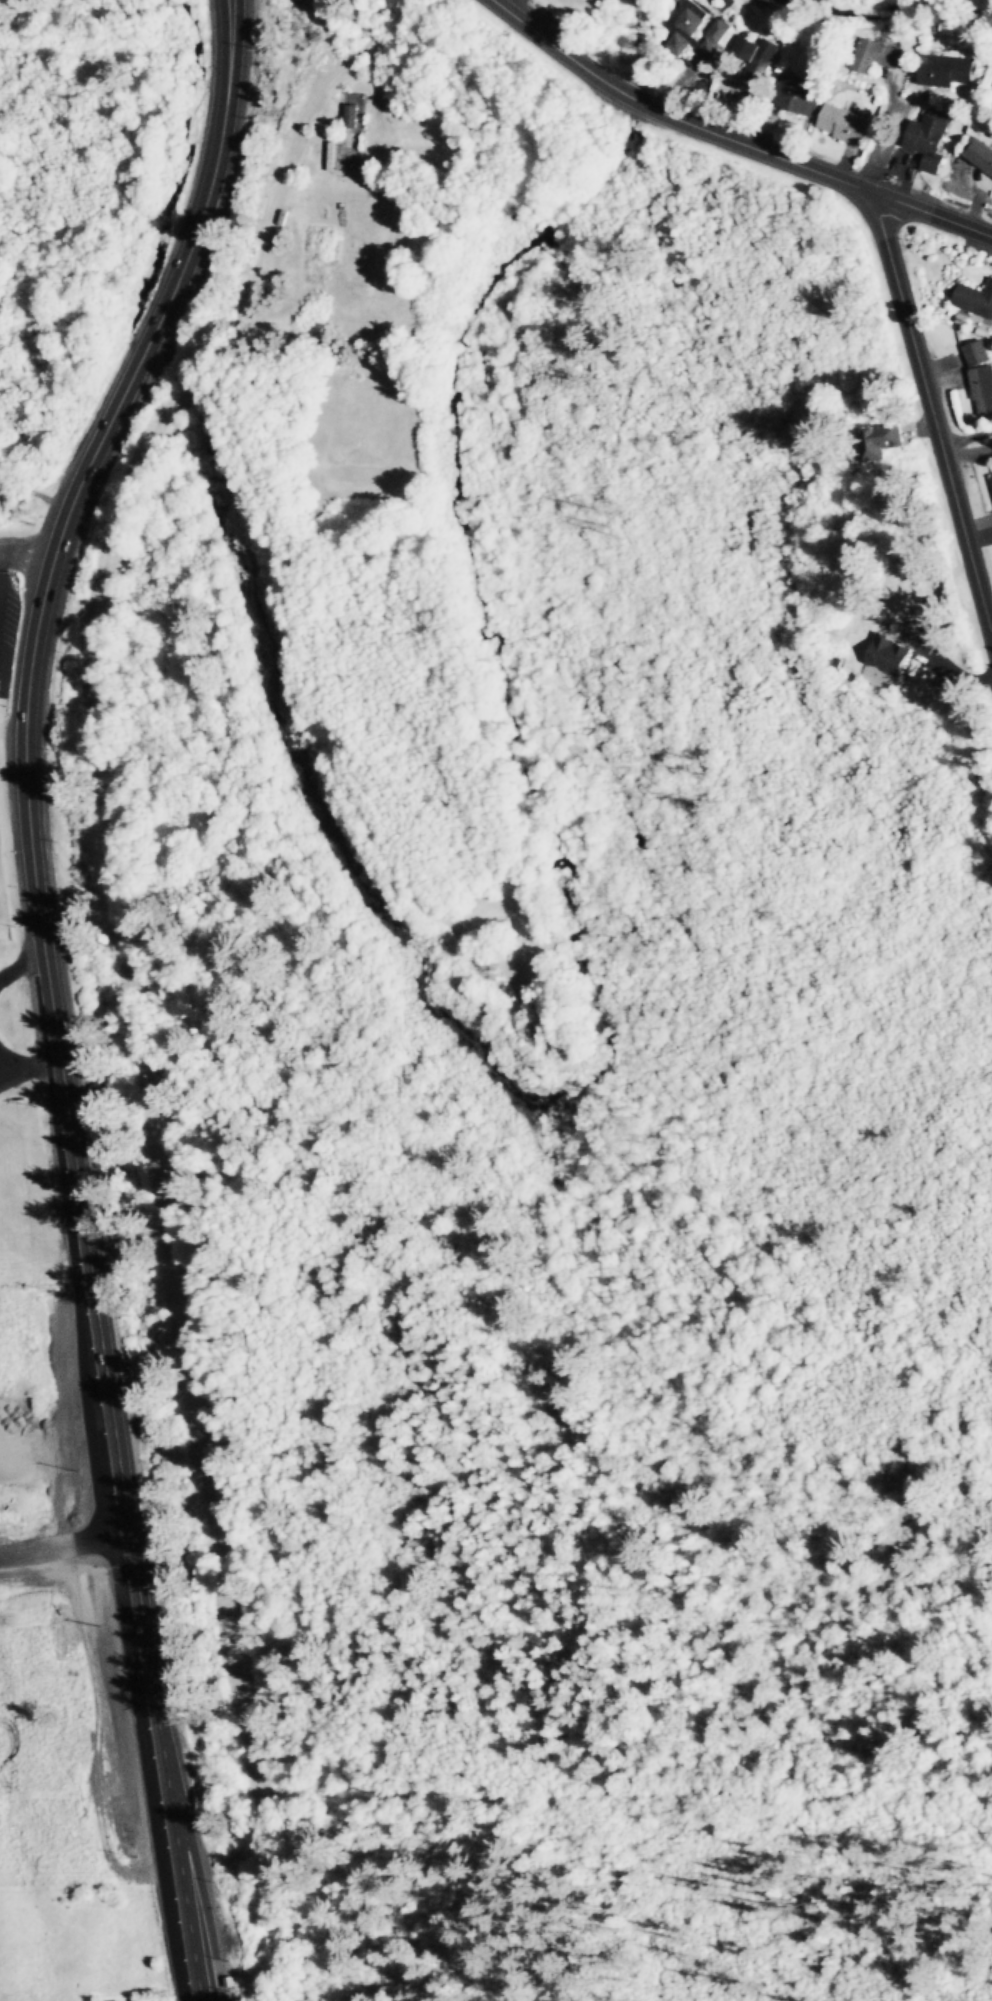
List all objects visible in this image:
river: (887, 25)
building: (696, 29)
building: (877, 56)
building: (757, 57)
building: (945, 71)
building: (799, 95)
building: (352, 119)
building: (846, 124)
road: (733, 138)
building: (929, 140)
building: (979, 154)
building: (333, 156)
building: (974, 300)
building: (981, 375)
road: (934, 410)
building: (872, 442)
road: (4, 559)
road: (27, 559)
building: (890, 655)
road: (49, 986)
railway: (126, 990)

